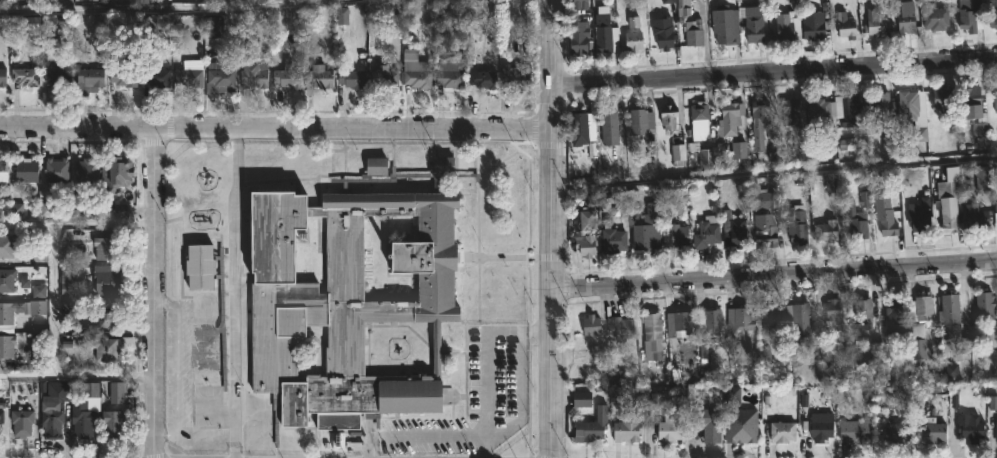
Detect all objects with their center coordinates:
building: (580, 5)
building: (682, 9)
building: (991, 12)
road: (181, 15)
building: (969, 15)
building: (904, 17)
building: (934, 18)
building: (635, 24)
building: (813, 24)
building: (752, 25)
building: (844, 25)
building: (875, 25)
building: (724, 26)
building: (215, 27)
building: (786, 27)
building: (606, 32)
building: (661, 32)
building: (692, 32)
building: (581, 39)
building: (635, 41)
building: (58, 69)
road: (774, 71)
building: (125, 73)
building: (255, 74)
building: (26, 75)
building: (288, 75)
building: (158, 76)
building: (386, 76)
building: (517, 76)
building: (2, 77)
building: (220, 78)
building: (318, 78)
building: (418, 78)
building: (353, 79)
building: (451, 79)
building: (188, 80)
building: (484, 80)
building: (90, 81)
building: (943, 99)
building: (879, 104)
building: (906, 105)
building: (847, 110)
building: (815, 111)
building: (973, 111)
building: (700, 114)
building: (793, 114)
building: (666, 116)
building: (728, 119)
building: (639, 121)
building: (757, 122)
building: (610, 126)
road: (274, 128)
building: (578, 130)
building: (414, 162)
building: (446, 163)
building: (379, 165)
building: (3, 169)
building: (28, 169)
building: (58, 169)
building: (88, 169)
building: (121, 171)
building: (205, 172)
road: (773, 173)
building: (981, 179)
building: (200, 212)
building: (995, 214)
building: (974, 215)
building: (885, 219)
building: (917, 219)
building: (588, 220)
building: (948, 220)
building: (855, 221)
road: (58, 228)
road: (549, 228)
building: (646, 230)
building: (732, 230)
building: (824, 230)
building: (796, 231)
building: (705, 232)
building: (765, 232)
building: (672, 235)
building: (611, 239)
building: (7, 245)
building: (584, 245)
building: (107, 247)
building: (202, 268)
road: (773, 273)
building: (7, 279)
building: (107, 279)
building: (67, 280)
road: (154, 292)
road: (233, 292)
road: (55, 301)
building: (349, 304)
building: (984, 305)
building: (948, 306)
building: (921, 307)
building: (892, 309)
building: (832, 312)
building: (862, 312)
building: (107, 314)
building: (7, 317)
building: (738, 319)
building: (772, 320)
building: (711, 321)
building: (680, 323)
building: (589, 325)
building: (619, 328)
building: (650, 328)
building: (797, 330)
building: (992, 339)
building: (917, 341)
building: (7, 345)
building: (106, 349)
road: (77, 374)
road: (486, 379)
building: (582, 401)
building: (1, 418)
building: (23, 422)
building: (53, 422)
building: (83, 422)
building: (113, 422)
building: (706, 423)
building: (739, 425)
building: (924, 425)
building: (589, 426)
building: (819, 426)
building: (995, 427)
building: (625, 428)
building: (968, 428)
building: (668, 431)
building: (781, 431)
building: (852, 431)
building: (895, 433)
road: (496, 434)

